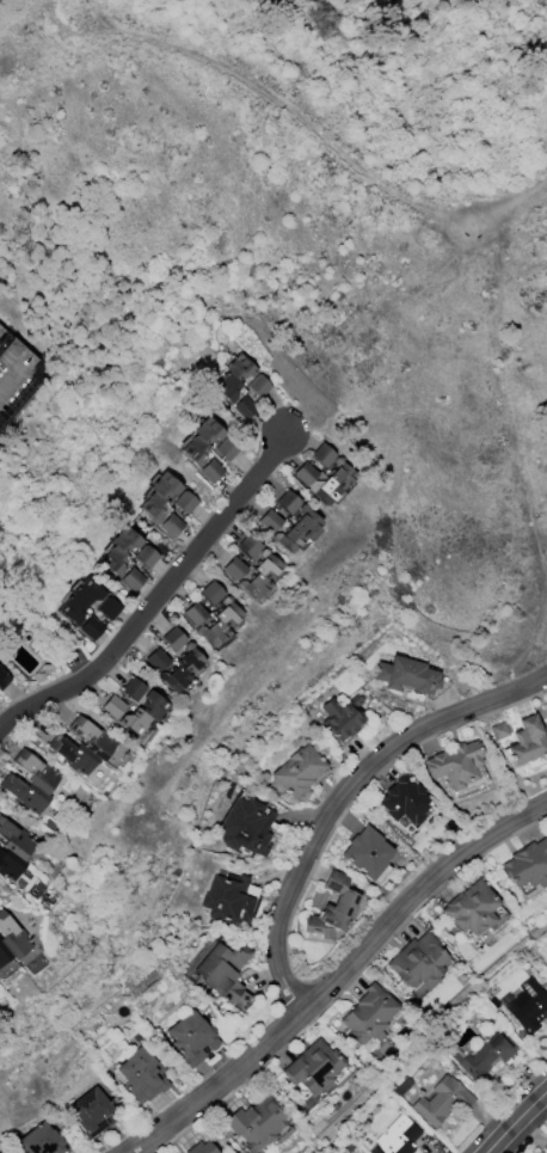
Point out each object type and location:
building: (14, 360)
building: (228, 376)
building: (257, 386)
road: (497, 393)
building: (240, 407)
building: (193, 441)
building: (223, 449)
building: (321, 455)
building: (208, 470)
building: (302, 473)
building: (339, 474)
building: (324, 491)
building: (153, 496)
building: (183, 501)
building: (284, 502)
building: (266, 521)
building: (303, 522)
building: (168, 525)
building: (288, 539)
building: (245, 546)
building: (121, 551)
building: (147, 556)
building: (265, 564)
building: (232, 568)
building: (134, 579)
building: (251, 584)
building: (209, 591)
building: (81, 600)
road: (159, 601)
building: (110, 608)
building: (225, 612)
building: (192, 613)
building: (92, 628)
building: (210, 631)
building: (171, 638)
building: (154, 658)
building: (188, 658)
building: (405, 675)
building: (172, 677)
building: (4, 679)
building: (131, 688)
building: (546, 704)
building: (111, 705)
building: (149, 705)
building: (546, 705)
building: (342, 716)
building: (131, 720)
building: (498, 730)
building: (90, 737)
building: (526, 742)
building: (72, 755)
building: (455, 765)
building: (297, 769)
building: (35, 772)
building: (23, 793)
road: (342, 796)
building: (402, 801)
building: (246, 827)
building: (13, 839)
building: (365, 852)
building: (8, 864)
building: (527, 865)
building: (229, 899)
building: (319, 899)
building: (332, 908)
building: (473, 908)
building: (10, 937)
building: (2, 955)
building: (417, 963)
building: (223, 969)
road: (342, 977)
building: (528, 1006)
building: (369, 1014)
building: (191, 1038)
building: (484, 1056)
building: (315, 1068)
building: (141, 1074)
building: (442, 1100)
building: (92, 1112)
building: (259, 1124)
road: (518, 1124)
building: (397, 1136)
building: (39, 1140)
building: (201, 1148)
building: (8, 1152)

